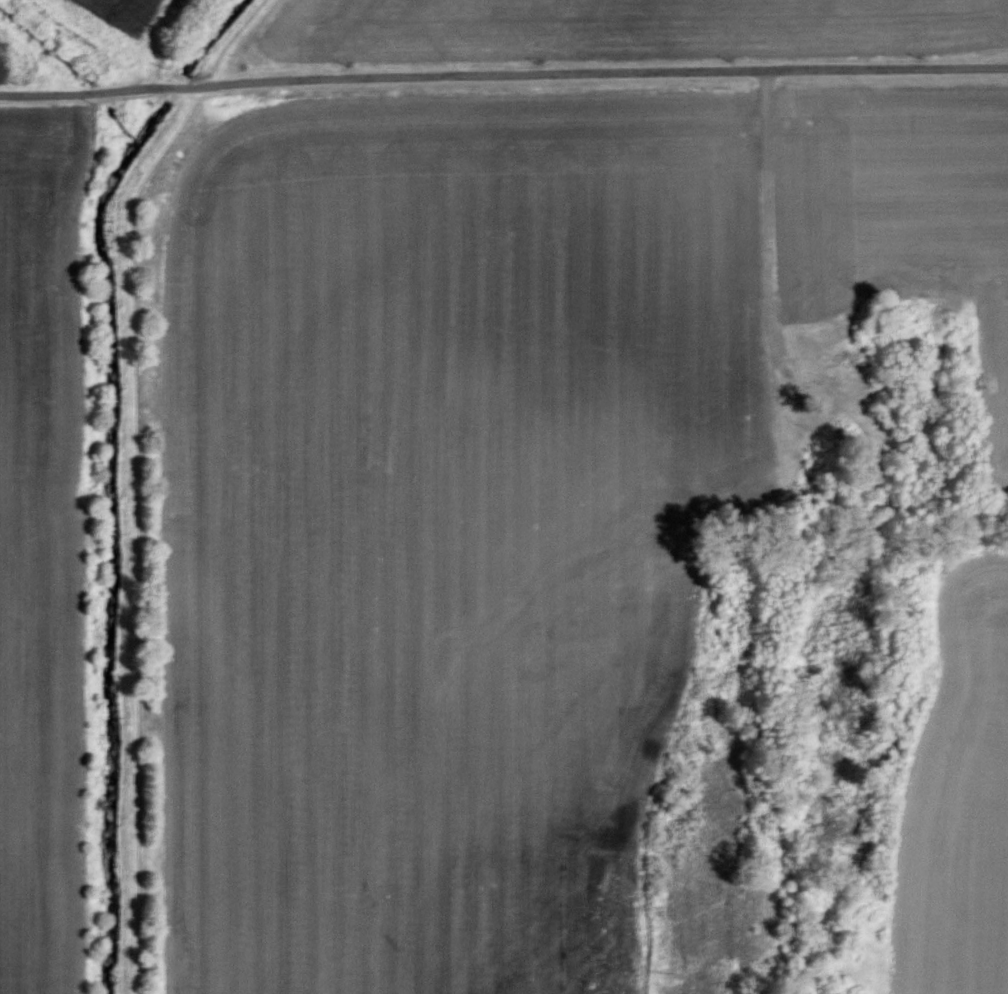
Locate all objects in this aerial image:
road: (502, 64)

